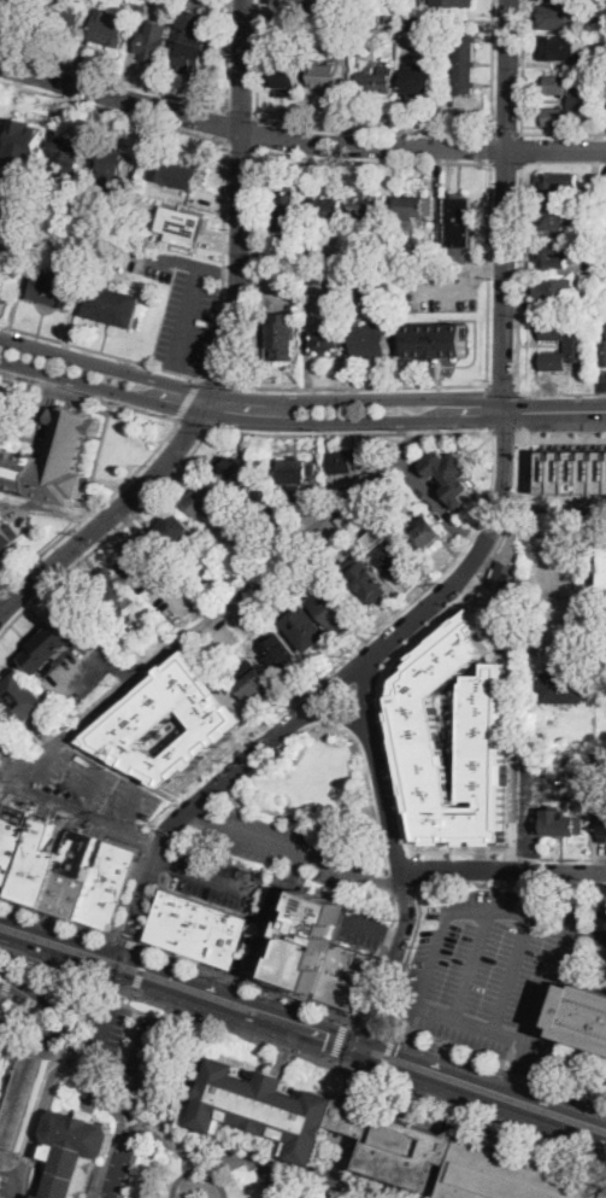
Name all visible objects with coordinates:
building: (312, 0)
building: (290, 1)
building: (453, 4)
building: (19, 6)
building: (70, 10)
building: (141, 12)
building: (557, 16)
building: (358, 17)
building: (375, 21)
building: (390, 21)
building: (420, 24)
building: (273, 25)
building: (107, 28)
building: (358, 33)
building: (152, 41)
building: (564, 48)
road: (226, 55)
building: (192, 57)
road: (257, 57)
building: (464, 62)
building: (601, 63)
road: (490, 65)
road: (522, 66)
building: (287, 76)
road: (113, 77)
building: (326, 77)
building: (419, 78)
building: (377, 80)
building: (571, 100)
road: (241, 113)
road: (167, 123)
road: (225, 124)
road: (255, 130)
road: (372, 130)
road: (506, 132)
road: (564, 132)
building: (30, 139)
road: (239, 140)
road: (298, 140)
road: (490, 146)
road: (522, 148)
building: (67, 158)
road: (360, 159)
road: (505, 163)
building: (117, 165)
building: (176, 173)
building: (595, 181)
building: (555, 186)
building: (6, 191)
building: (369, 208)
building: (328, 209)
building: (413, 211)
building: (553, 217)
building: (118, 218)
building: (289, 222)
building: (458, 222)
building: (12, 223)
building: (181, 226)
building: (312, 251)
building: (388, 255)
building: (430, 255)
building: (554, 255)
road: (181, 262)
building: (601, 262)
road: (228, 271)
road: (493, 271)
building: (316, 275)
road: (518, 276)
building: (372, 277)
building: (290, 282)
road: (451, 285)
building: (49, 288)
parking lot: (443, 288)
building: (557, 291)
building: (602, 297)
road: (354, 300)
road: (311, 303)
building: (114, 305)
parking lot: (324, 305)
parking lot: (371, 306)
parking lot: (182, 308)
road: (189, 317)
road: (216, 317)
building: (283, 338)
building: (372, 340)
building: (439, 340)
building: (326, 343)
building: (578, 345)
road: (100, 350)
road: (225, 350)
building: (605, 353)
road: (307, 363)
road: (352, 363)
parking lot: (599, 378)
road: (213, 380)
road: (357, 385)
road: (501, 386)
road: (601, 386)
road: (505, 390)
road: (560, 393)
road: (235, 396)
road: (605, 397)
road: (187, 399)
road: (542, 409)
road: (236, 416)
road: (193, 423)
road: (172, 426)
road: (417, 431)
road: (461, 432)
road: (505, 432)
road: (560, 434)
building: (347, 460)
building: (53, 461)
road: (401, 461)
building: (573, 469)
road: (180, 471)
building: (236, 471)
building: (295, 474)
building: (452, 479)
road: (492, 483)
road: (430, 497)
building: (206, 499)
building: (355, 513)
building: (173, 527)
road: (467, 533)
building: (425, 534)
road: (473, 534)
building: (8, 537)
building: (343, 549)
building: (389, 551)
building: (214, 560)
building: (142, 563)
building: (604, 563)
road: (18, 573)
building: (506, 577)
building: (365, 578)
building: (559, 579)
building: (111, 588)
road: (217, 603)
building: (337, 608)
building: (307, 630)
road: (422, 633)
road: (600, 635)
building: (58, 638)
building: (278, 651)
building: (254, 682)
road: (312, 685)
building: (561, 688)
building: (20, 697)
road: (343, 709)
building: (146, 713)
road: (335, 725)
building: (418, 729)
building: (2, 738)
building: (600, 762)
road: (229, 775)
road: (84, 785)
park: (314, 788)
parking lot: (93, 797)
road: (130, 805)
road: (81, 810)
building: (563, 823)
building: (604, 831)
road: (149, 834)
road: (293, 849)
parking lot: (298, 852)
road: (508, 852)
road: (398, 860)
road: (502, 870)
building: (61, 871)
road: (200, 872)
road: (414, 872)
parking lot: (218, 879)
road: (508, 883)
road: (130, 889)
road: (139, 906)
road: (282, 914)
road: (59, 919)
parking lot: (272, 922)
parking lot: (364, 924)
road: (35, 928)
building: (602, 928)
building: (200, 929)
road: (372, 930)
building: (311, 939)
road: (127, 942)
road: (147, 953)
road: (433, 957)
road: (129, 958)
road: (407, 962)
road: (472, 965)
parking lot: (495, 966)
road: (12, 969)
road: (140, 971)
road: (514, 971)
road: (583, 971)
parking lot: (593, 972)
traffic signals: (108, 974)
traffic signals: (172, 974)
building: (347, 977)
road: (554, 978)
road: (248, 983)
road: (135, 992)
road: (52, 998)
road: (182, 998)
road: (278, 1010)
building: (587, 1013)
road: (373, 1025)
road: (100, 1032)
road: (341, 1036)
road: (72, 1040)
traffic signals: (325, 1045)
road: (384, 1047)
road: (387, 1052)
traffic signals: (396, 1053)
road: (302, 1054)
road: (567, 1058)
road: (334, 1059)
road: (495, 1066)
road: (151, 1069)
road: (520, 1069)
parking lot: (581, 1069)
road: (380, 1076)
road: (502, 1089)
building: (17, 1092)
road: (486, 1099)
building: (270, 1110)
road: (39, 1117)
building: (400, 1145)
building: (77, 1152)
road: (122, 1156)
road: (134, 1158)
road: (245, 1159)
road: (199, 1173)
building: (514, 1177)
park: (195, 1179)
road: (293, 1188)

